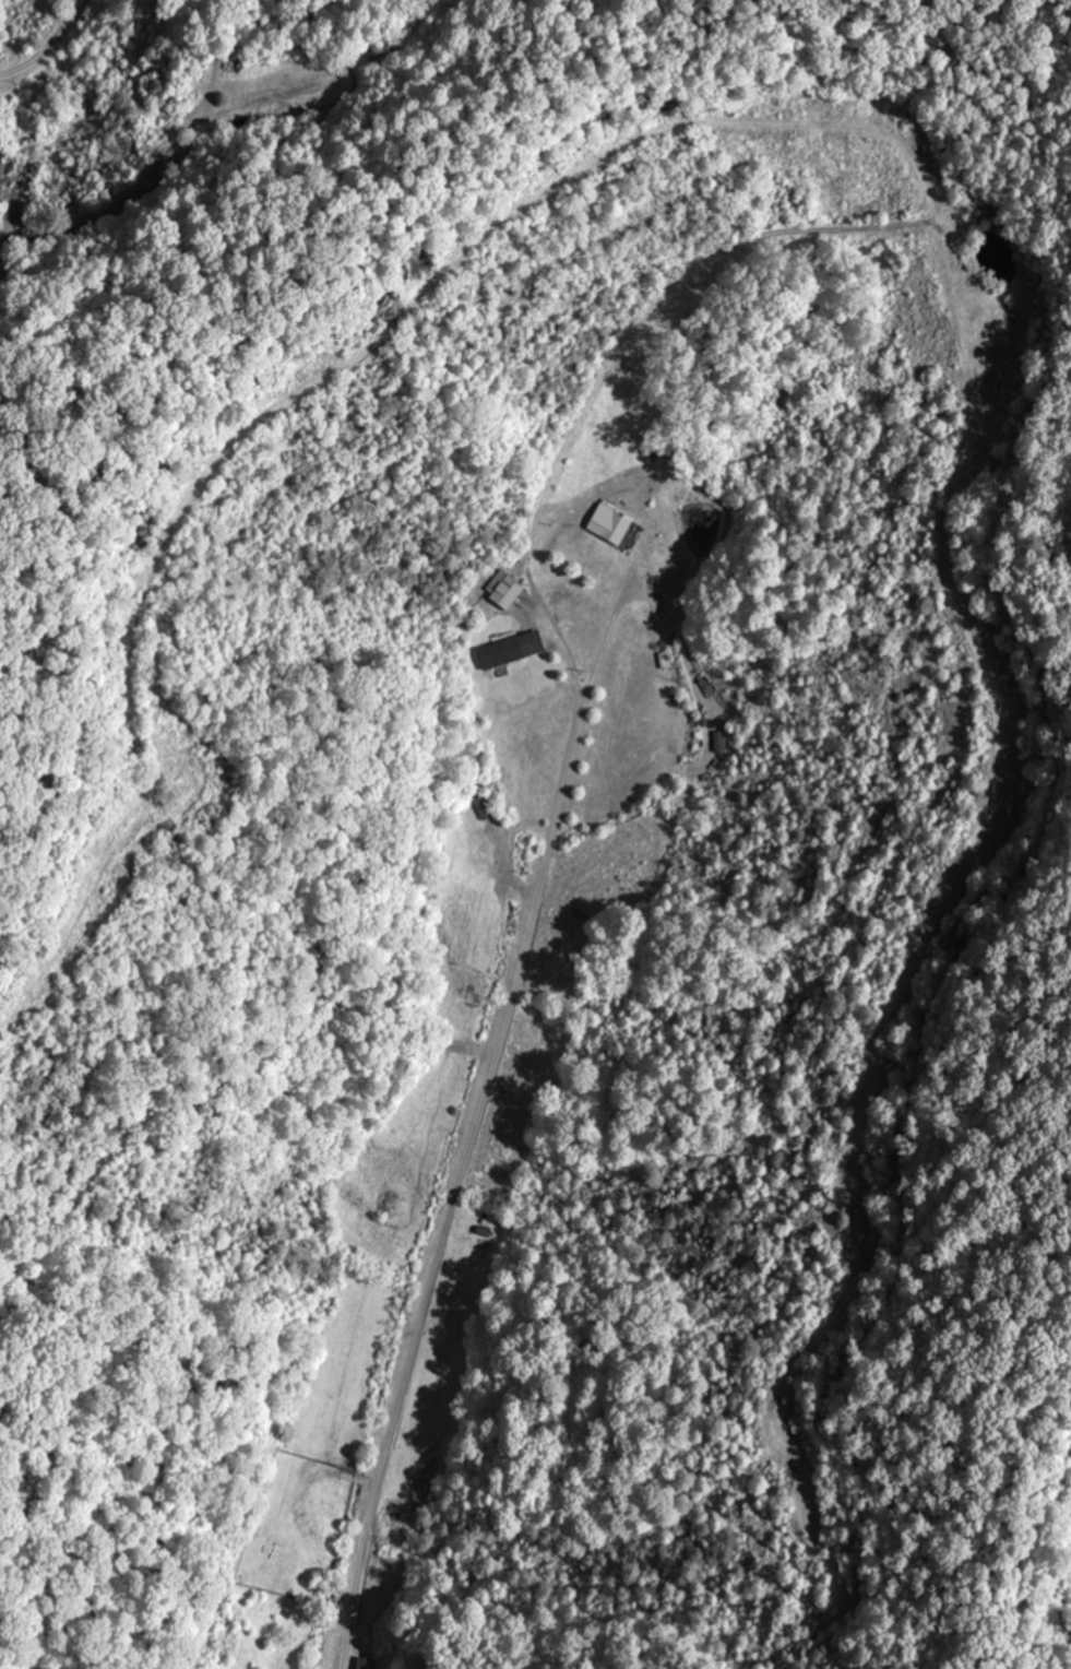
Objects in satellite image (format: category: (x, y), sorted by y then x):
road: (51, 59)
building: (607, 522)
building: (504, 591)
building: (508, 648)
building: (718, 741)
road: (459, 1186)
building: (364, 1664)

